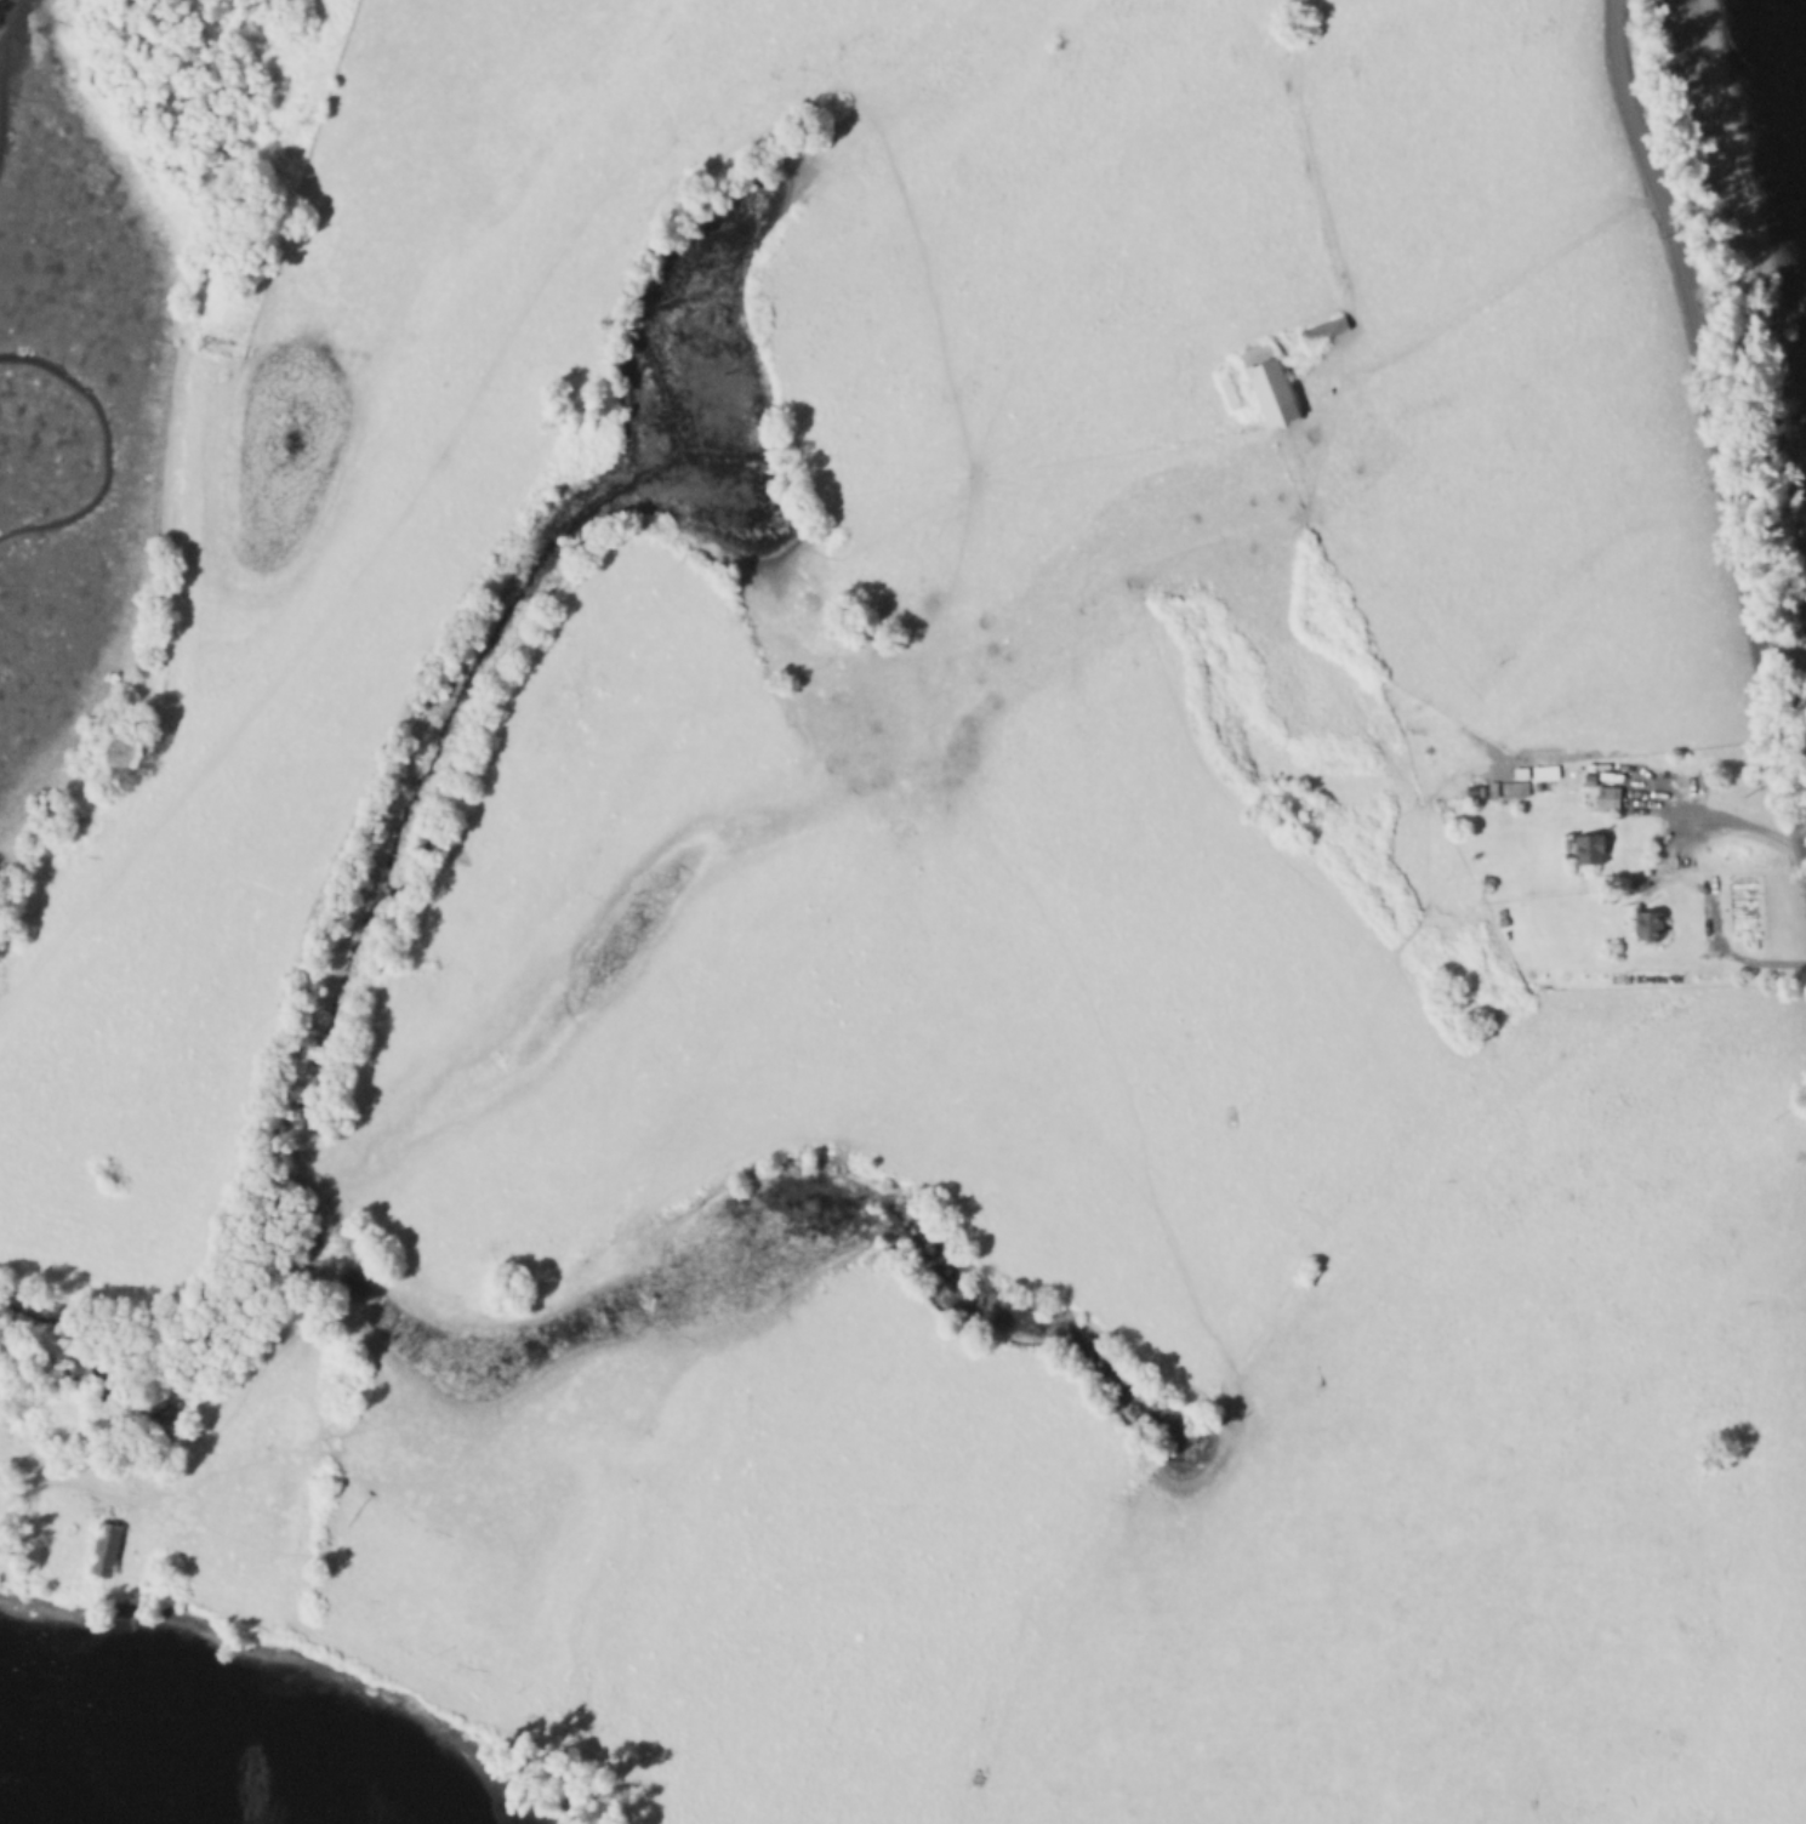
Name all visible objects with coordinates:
road: (1436, 330)
building: (1326, 341)
building: (1275, 392)
building: (1232, 394)
road: (1714, 417)
road: (1004, 500)
road: (397, 519)
building: (1515, 792)
building: (1608, 802)
road: (1722, 819)
building: (1590, 856)
road: (1714, 928)
building: (1654, 930)
road: (1585, 1145)
road: (113, 1507)
building: (103, 1551)

